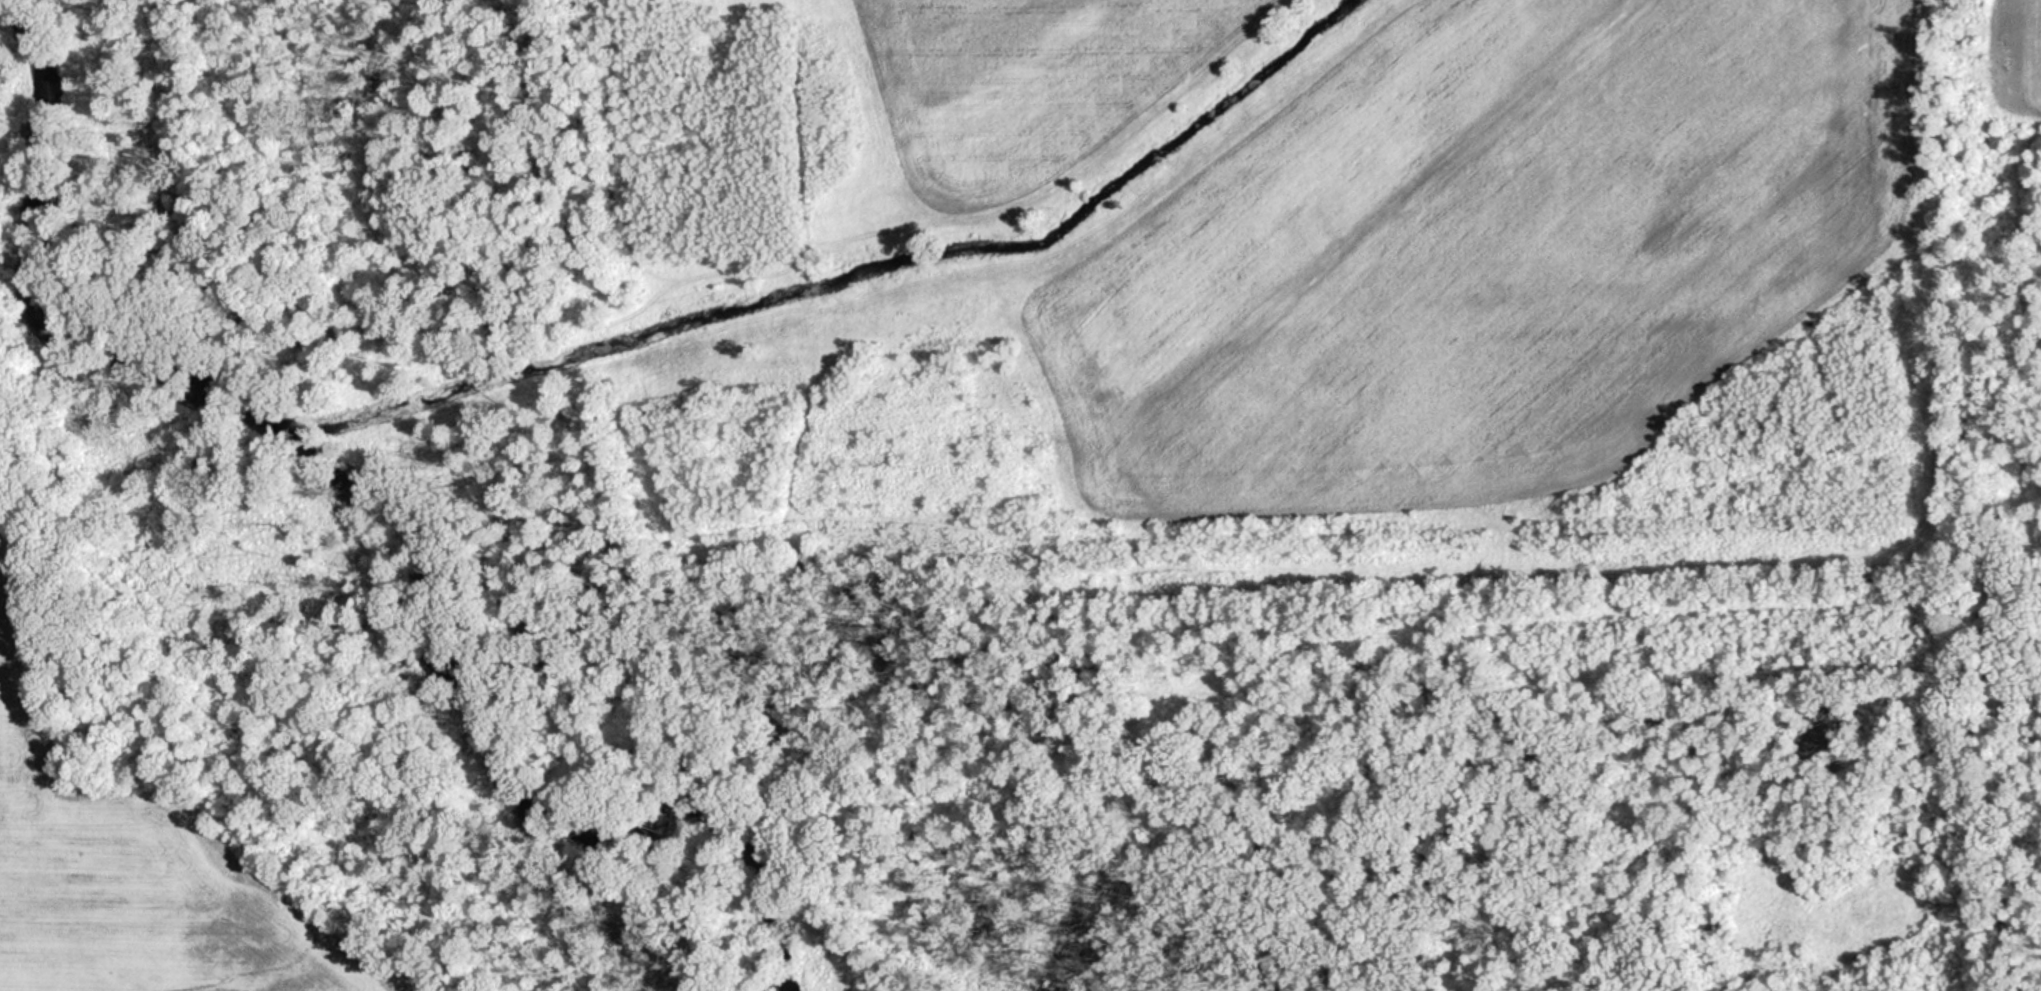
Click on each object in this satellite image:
river: (402, 500)

